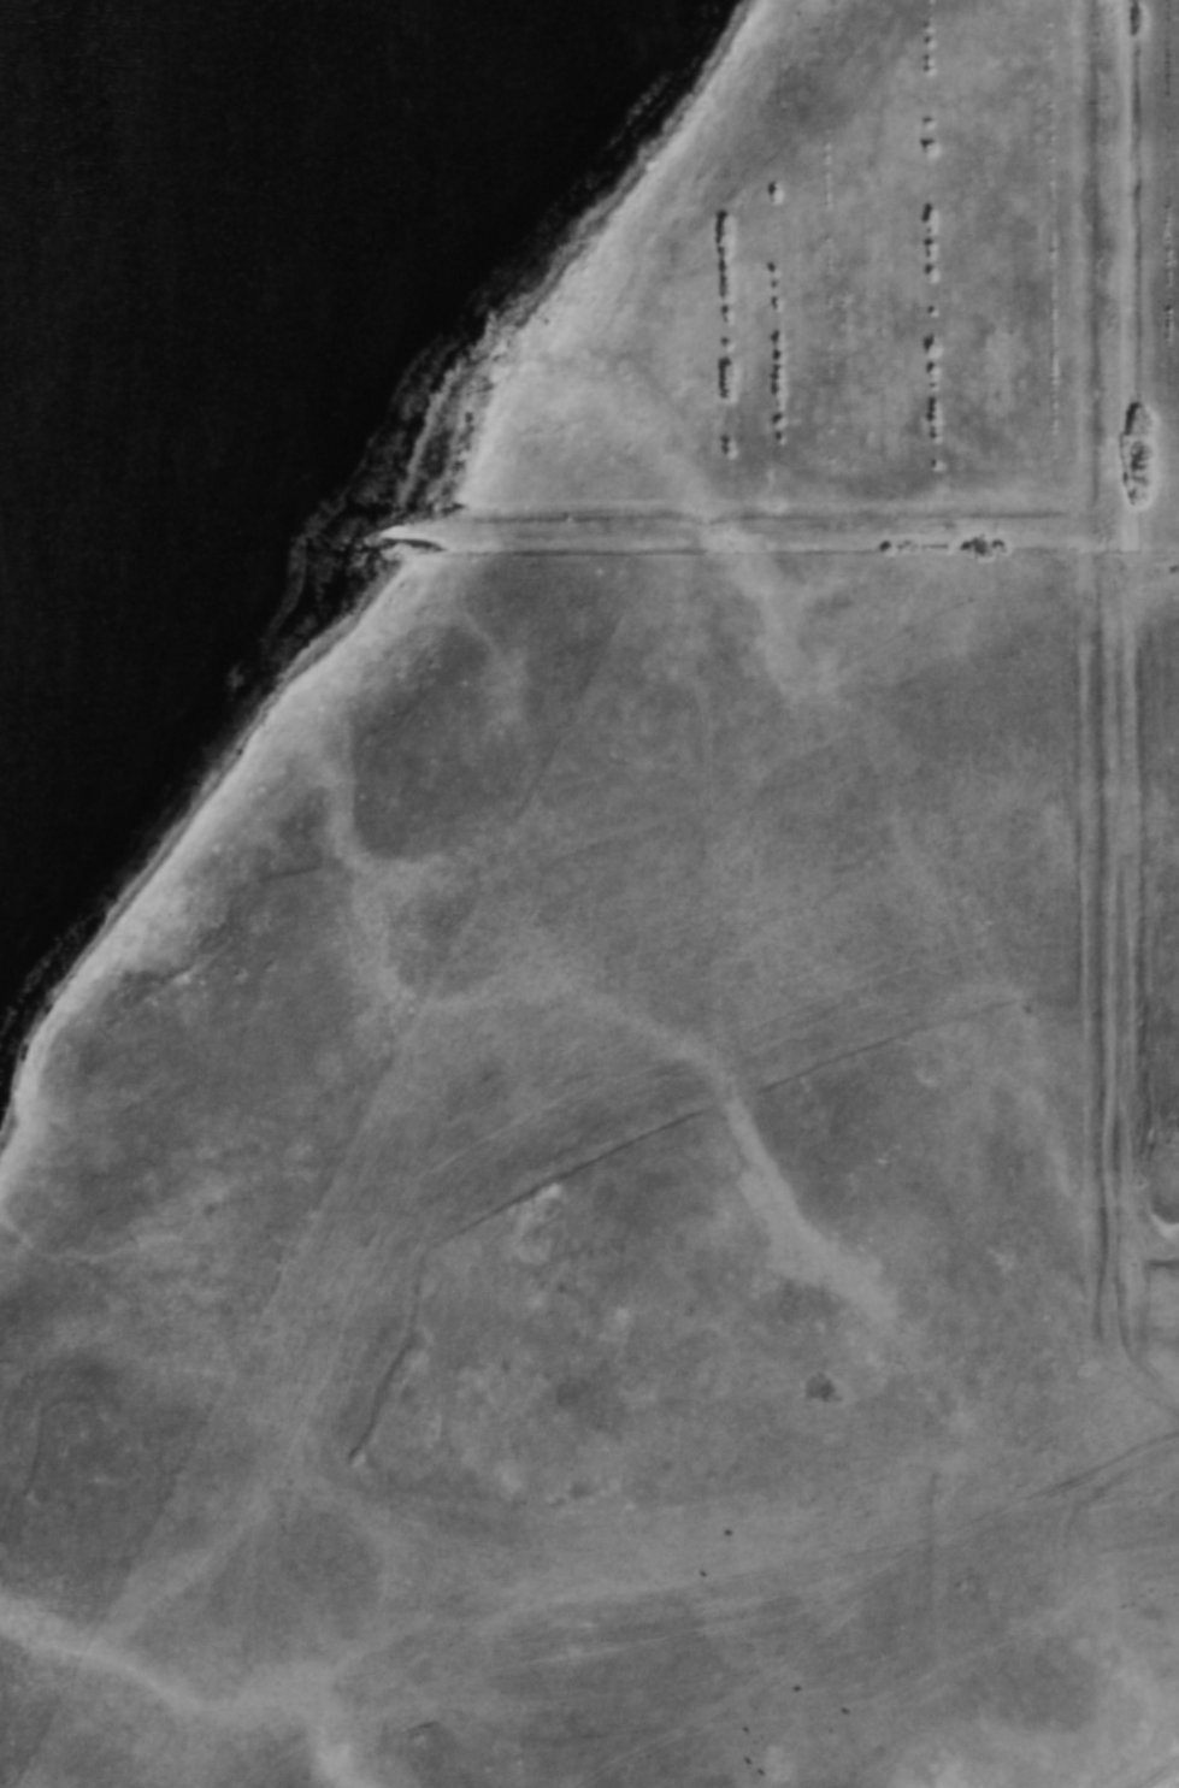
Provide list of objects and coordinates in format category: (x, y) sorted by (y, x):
road: (913, 1642)

